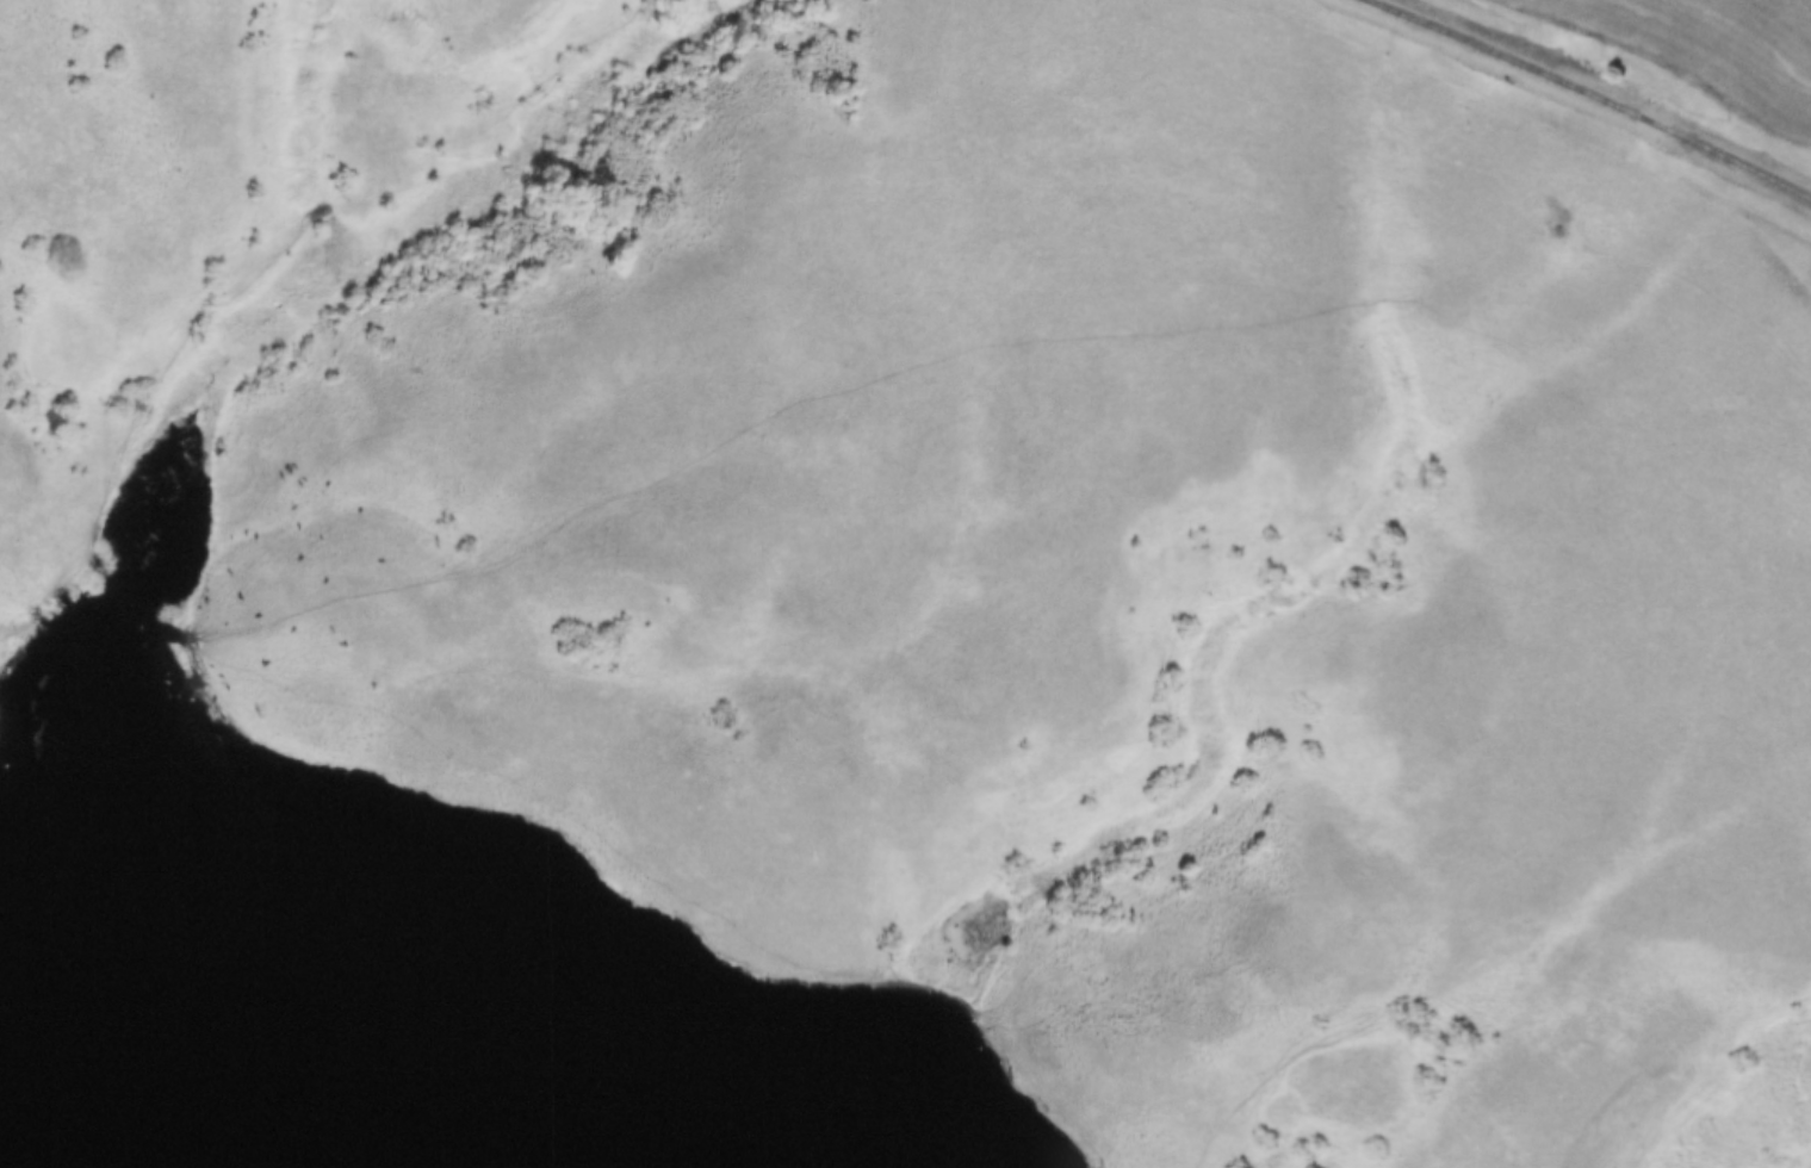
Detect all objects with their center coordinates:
railway: (1595, 93)
road: (1650, 147)

